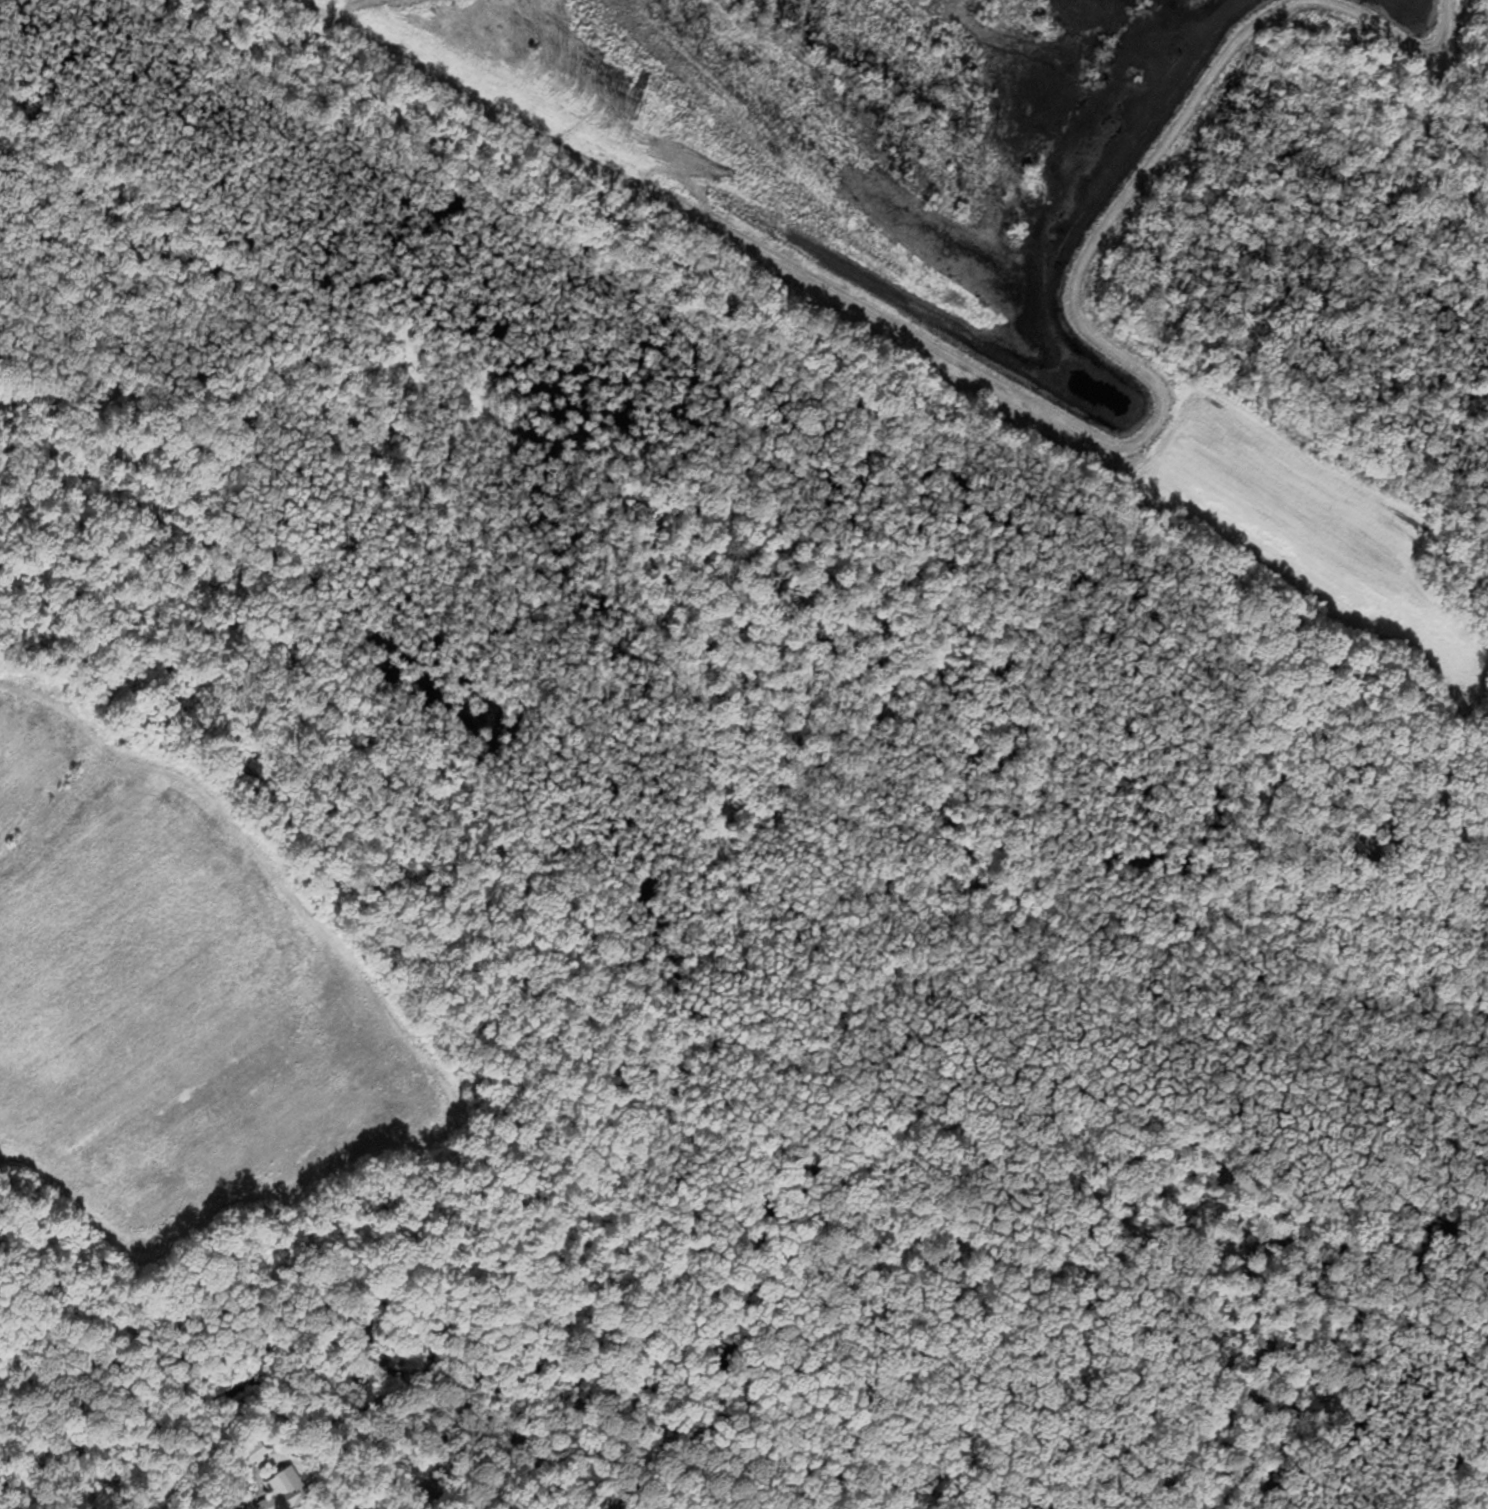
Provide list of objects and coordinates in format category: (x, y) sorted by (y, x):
building: (282, 1492)
building: (913, 1493)

